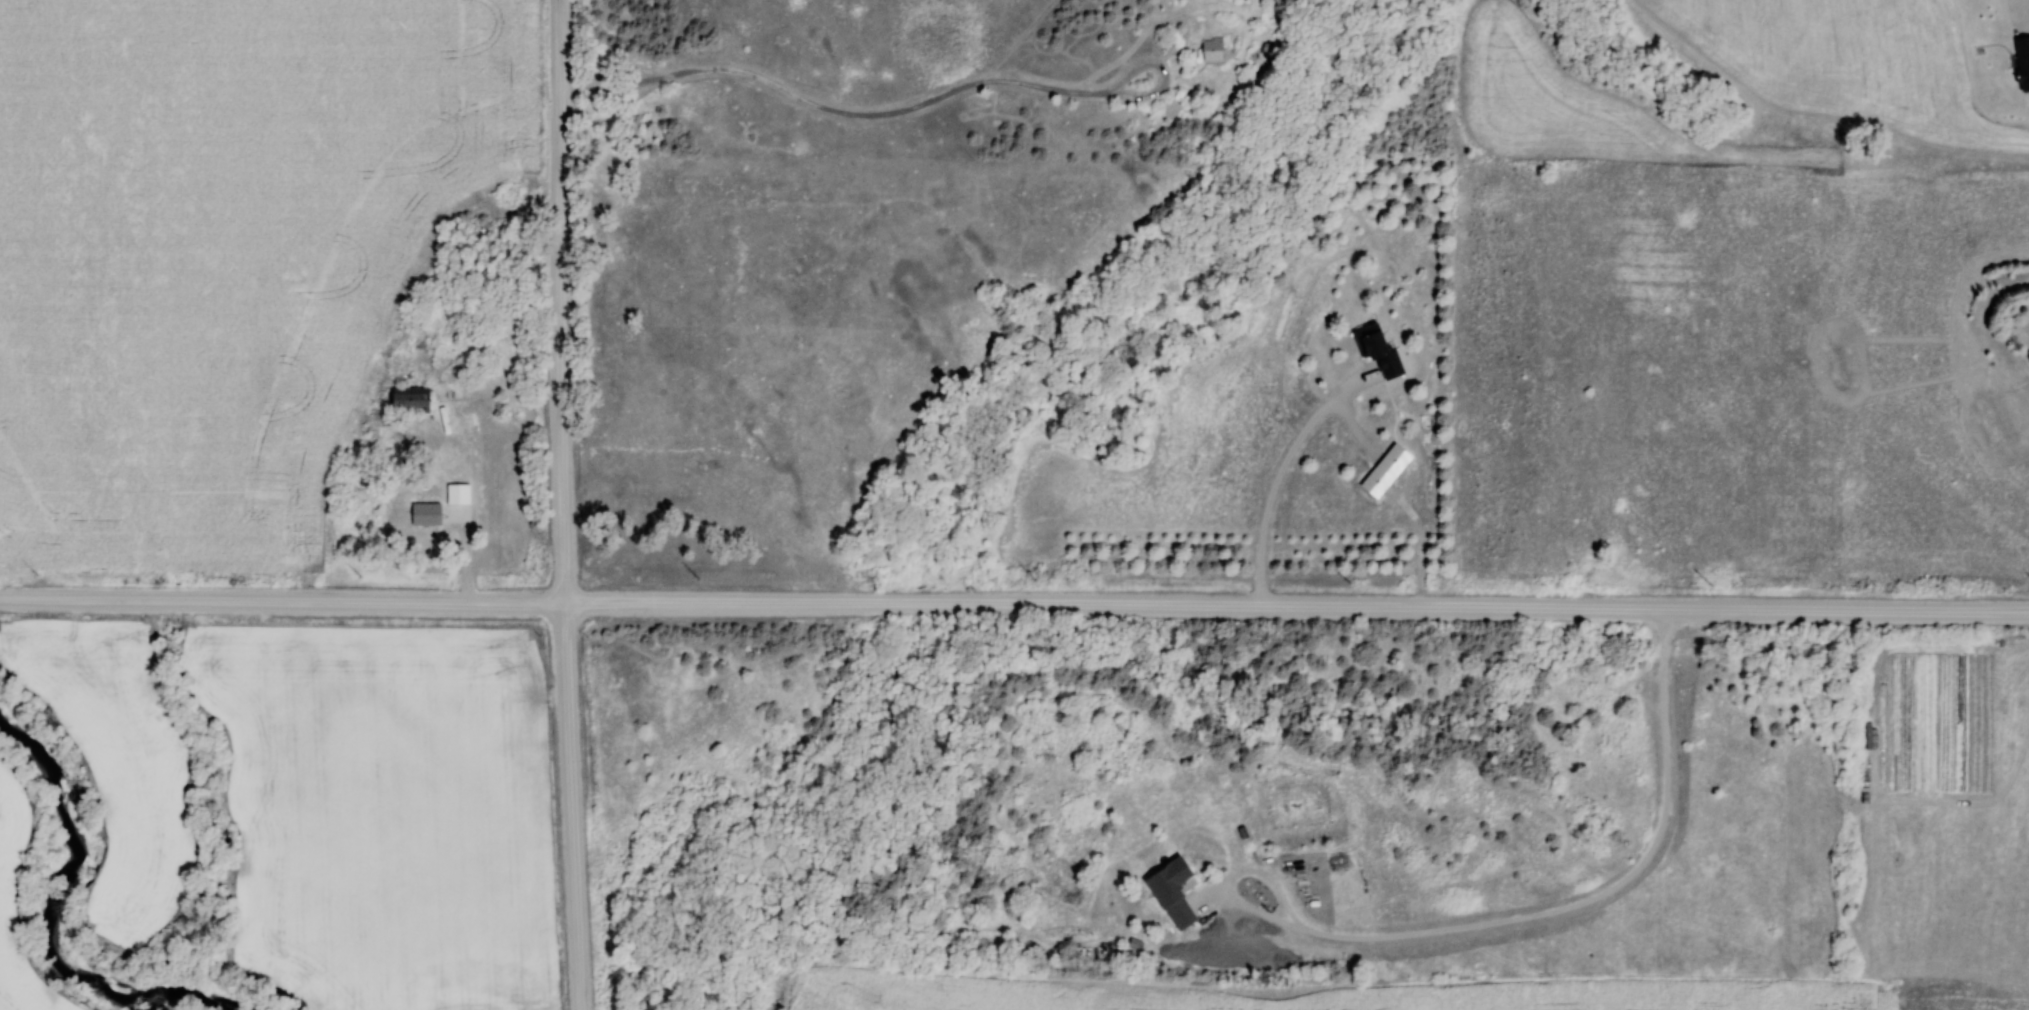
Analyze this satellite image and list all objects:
road: (2023, 15)
building: (1214, 50)
road: (905, 111)
building: (1377, 352)
building: (414, 401)
building: (1383, 473)
road: (1276, 482)
road: (562, 505)
building: (427, 516)
road: (1014, 605)
building: (1174, 893)
river: (46, 920)
road: (1510, 920)

